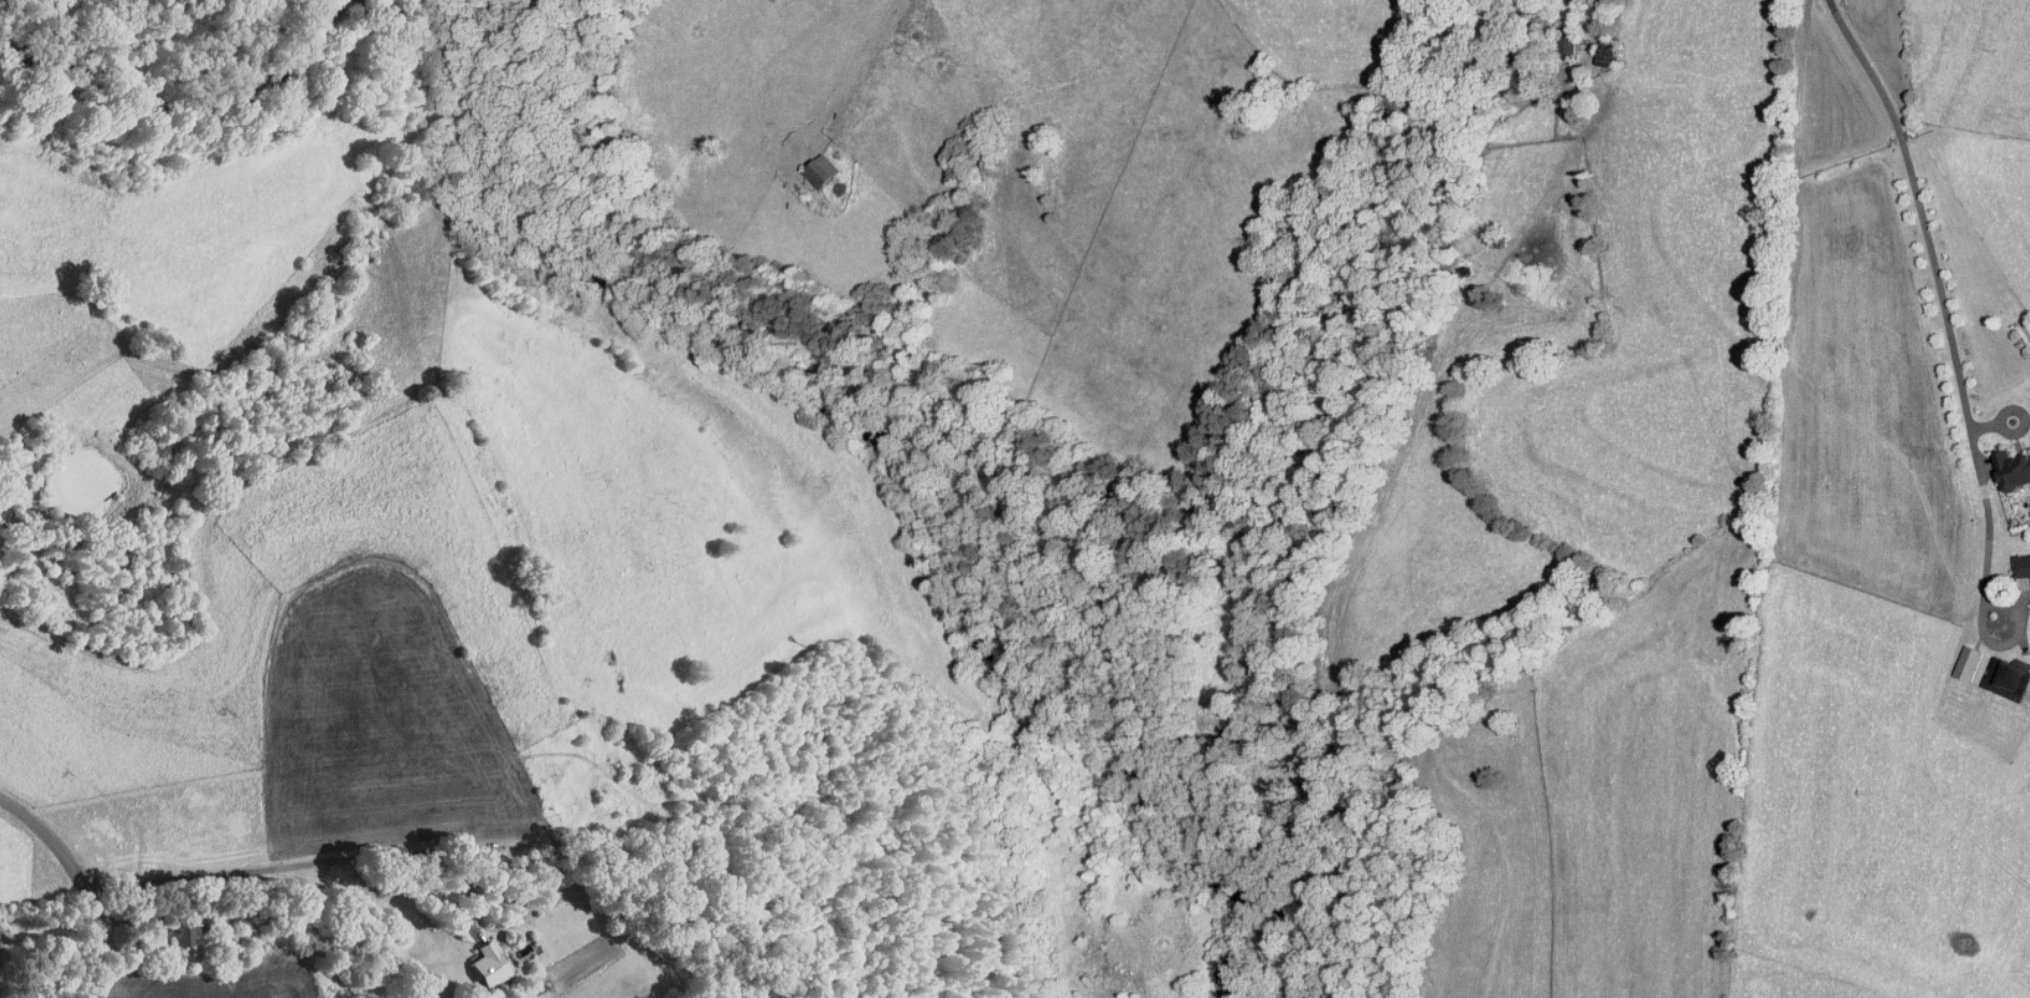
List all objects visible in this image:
building: (821, 170)
road: (1940, 291)
building: (2013, 469)
building: (2022, 565)
building: (1969, 663)
building: (2007, 678)
road: (268, 866)
road: (471, 890)
building: (188, 935)
building: (487, 964)

